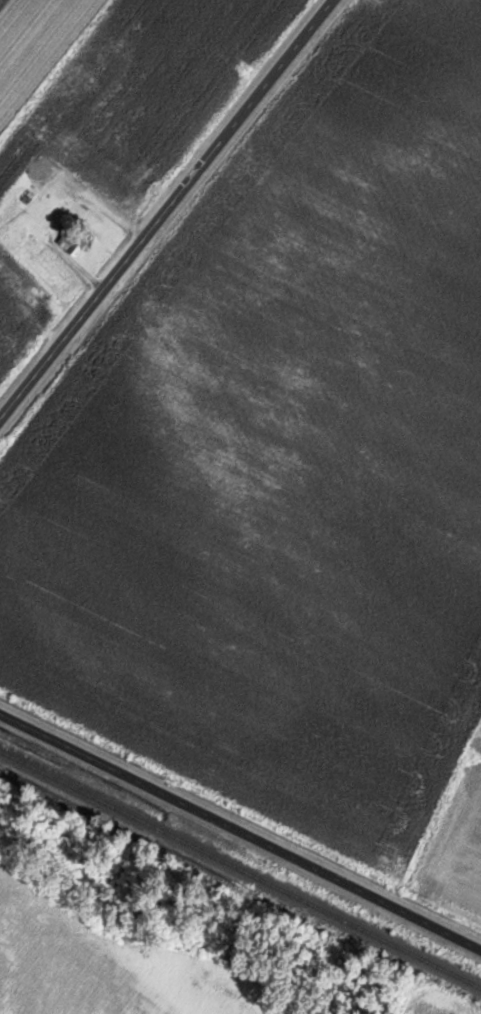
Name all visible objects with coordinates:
building: (121, 184)
road: (168, 208)
building: (70, 241)
road: (242, 829)
railway: (240, 868)

